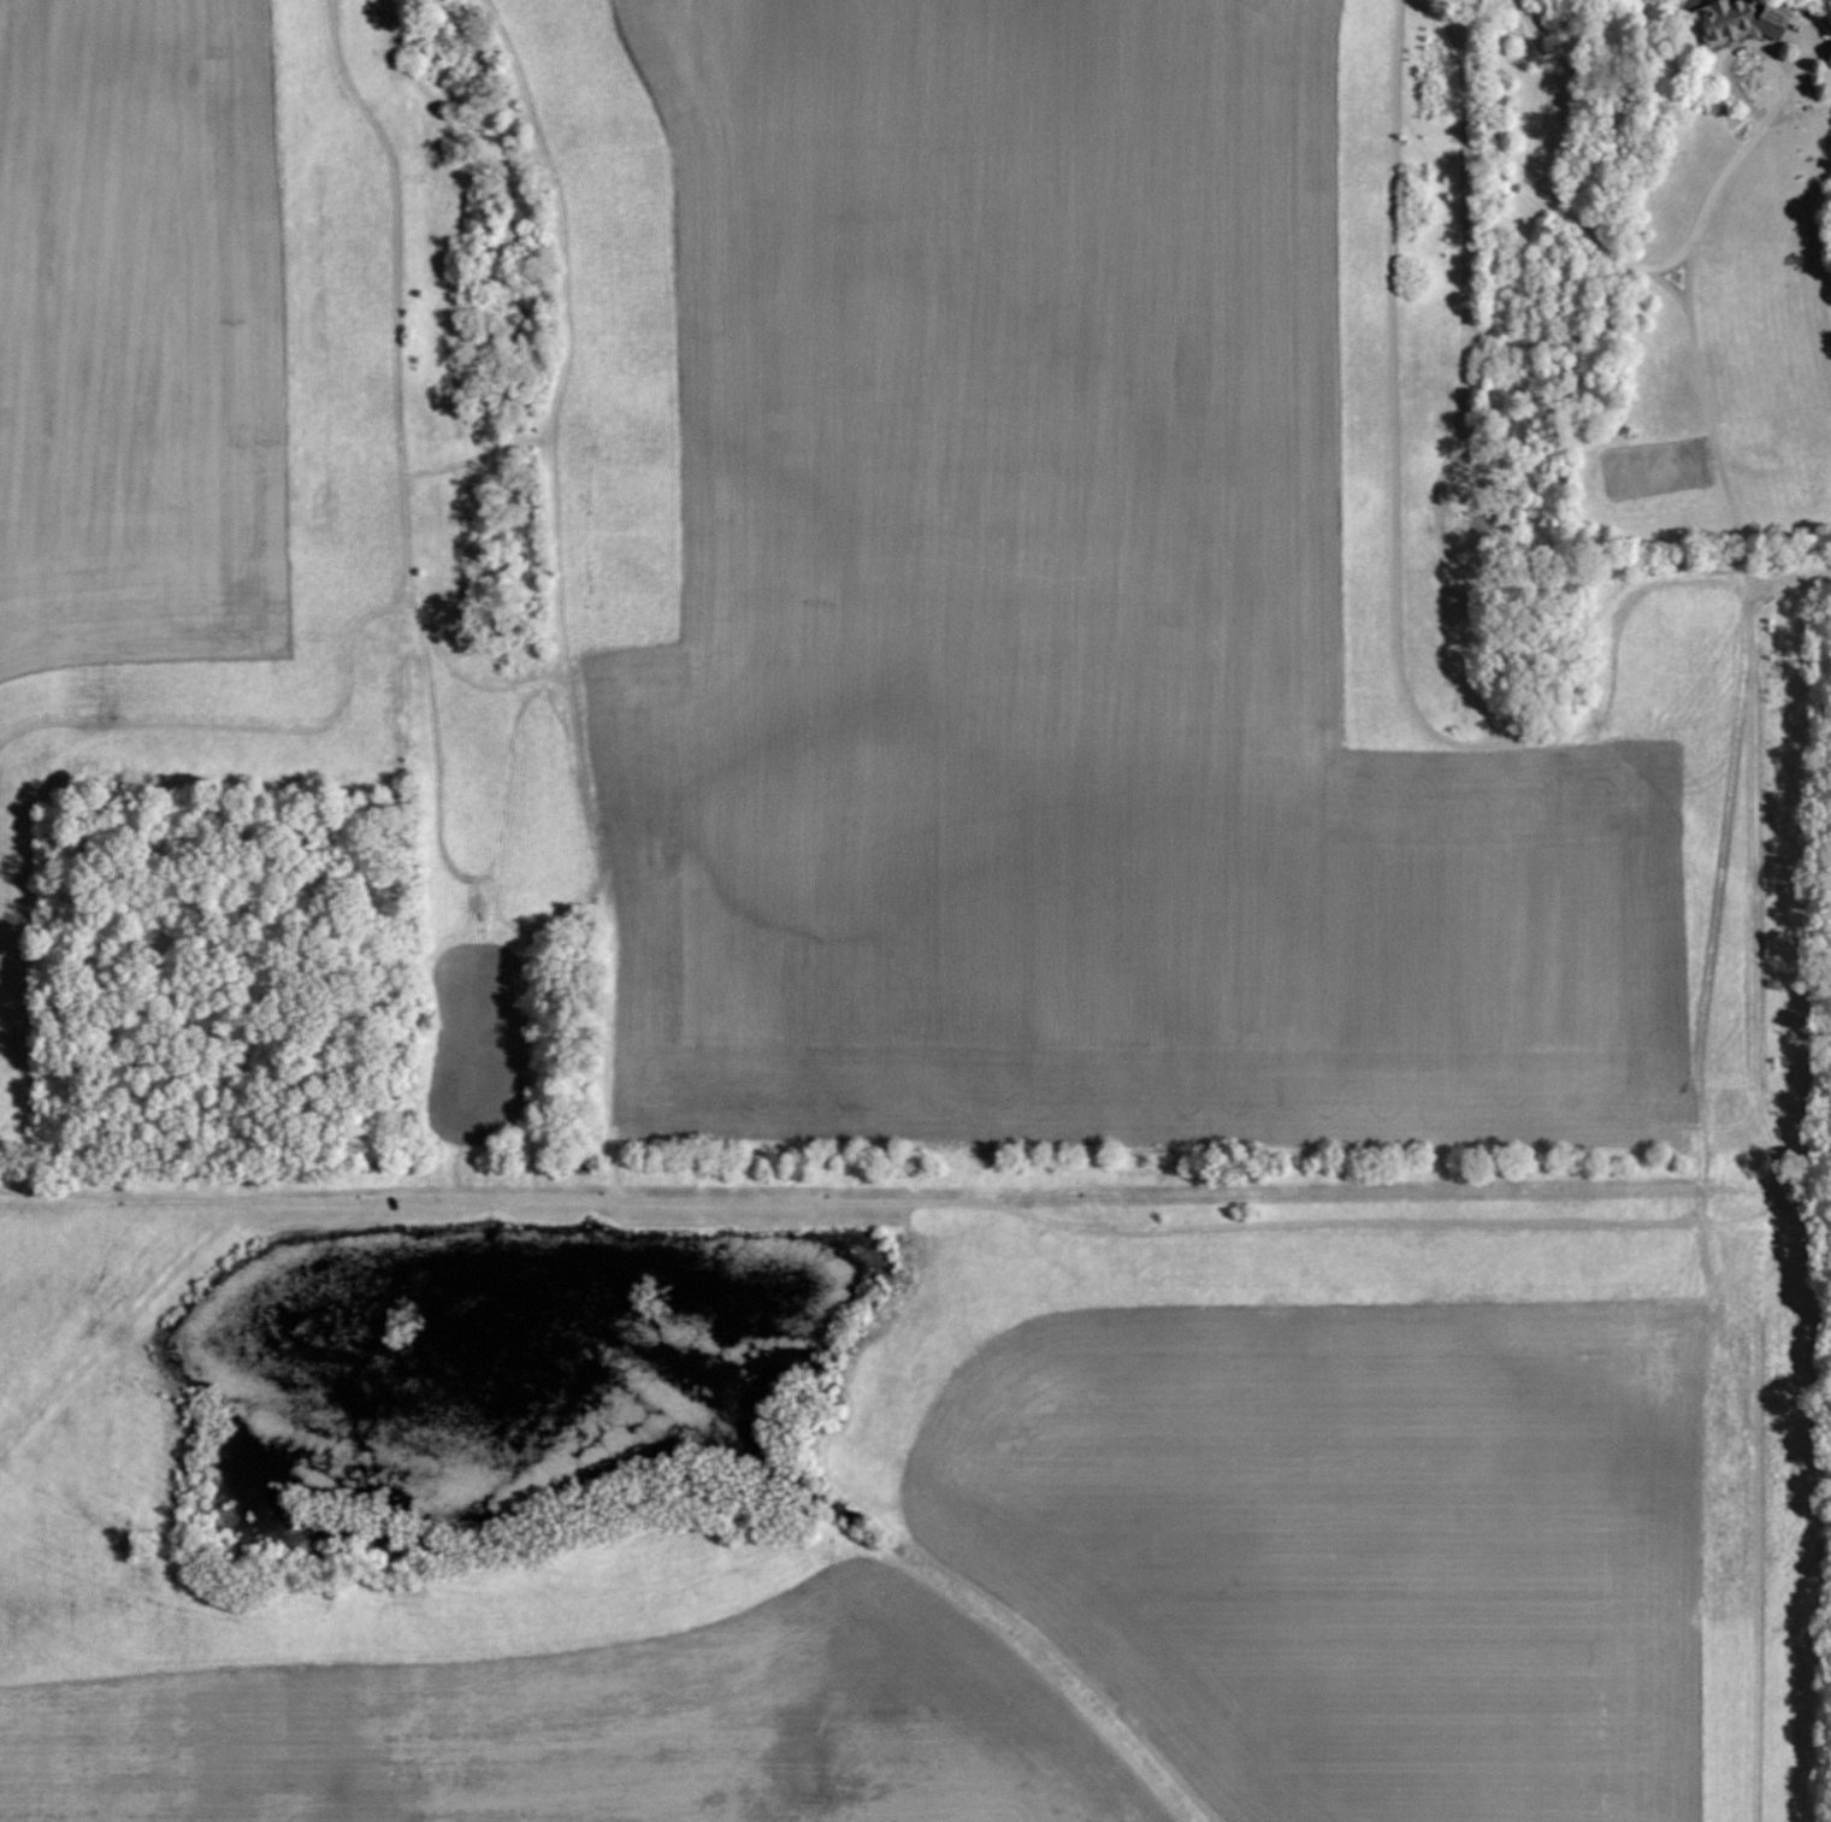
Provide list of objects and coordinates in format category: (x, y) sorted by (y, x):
road: (1786, 88)
road: (1675, 259)
road: (1693, 277)
road: (1676, 296)

